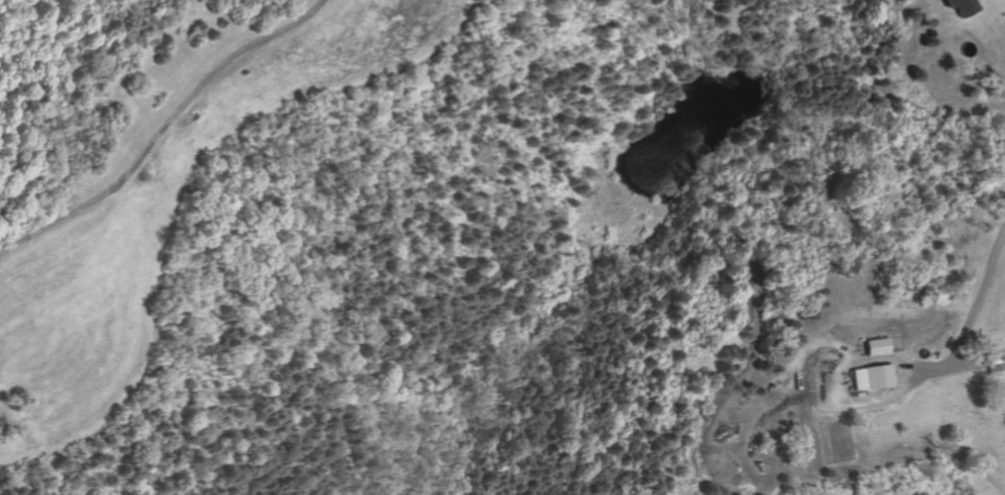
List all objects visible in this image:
building: (966, 6)
road: (162, 126)
road: (969, 316)
road: (845, 367)
building: (995, 371)
building: (874, 377)

